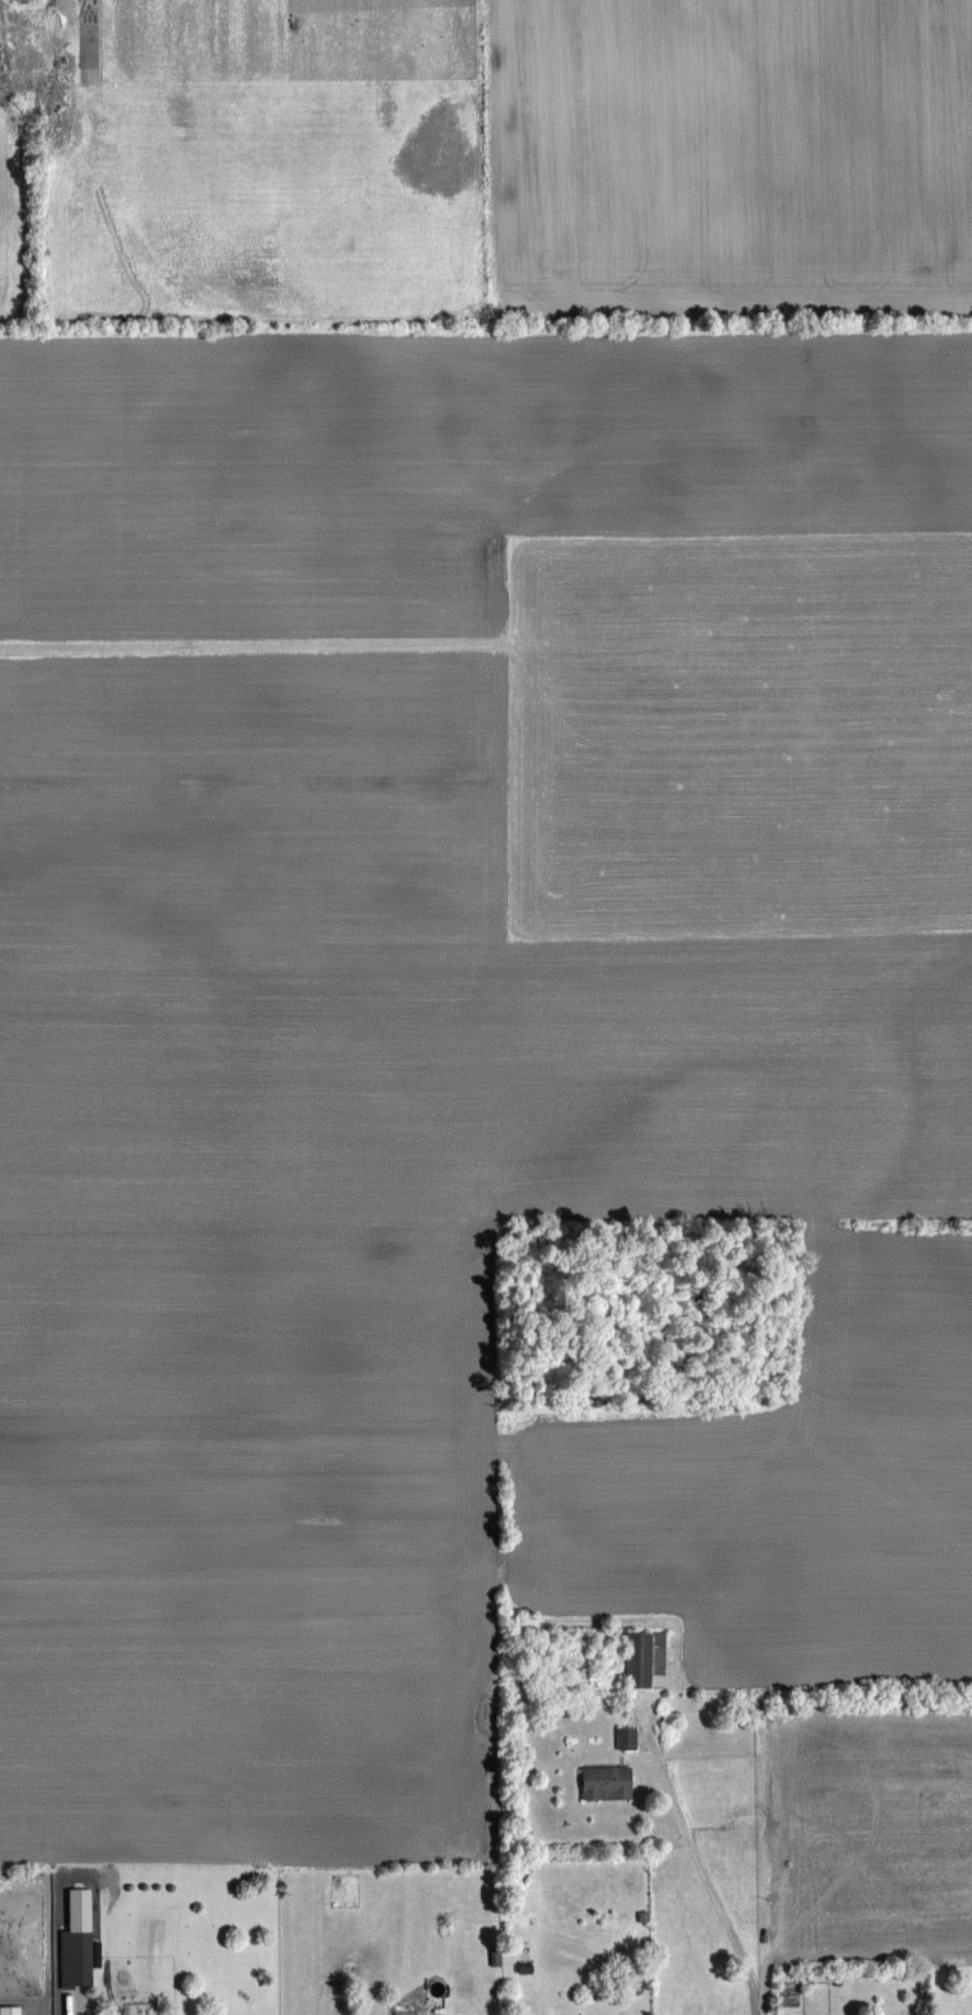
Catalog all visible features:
building: (644, 1659)
building: (626, 1736)
building: (605, 1781)
building: (75, 1957)
road: (80, 2008)
building: (9, 2010)

